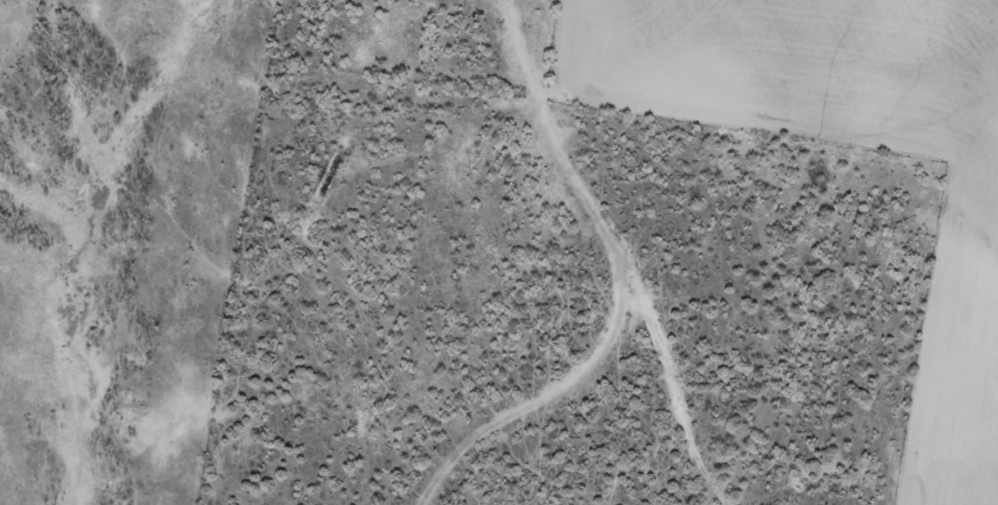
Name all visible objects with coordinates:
road: (558, 139)
road: (588, 301)

